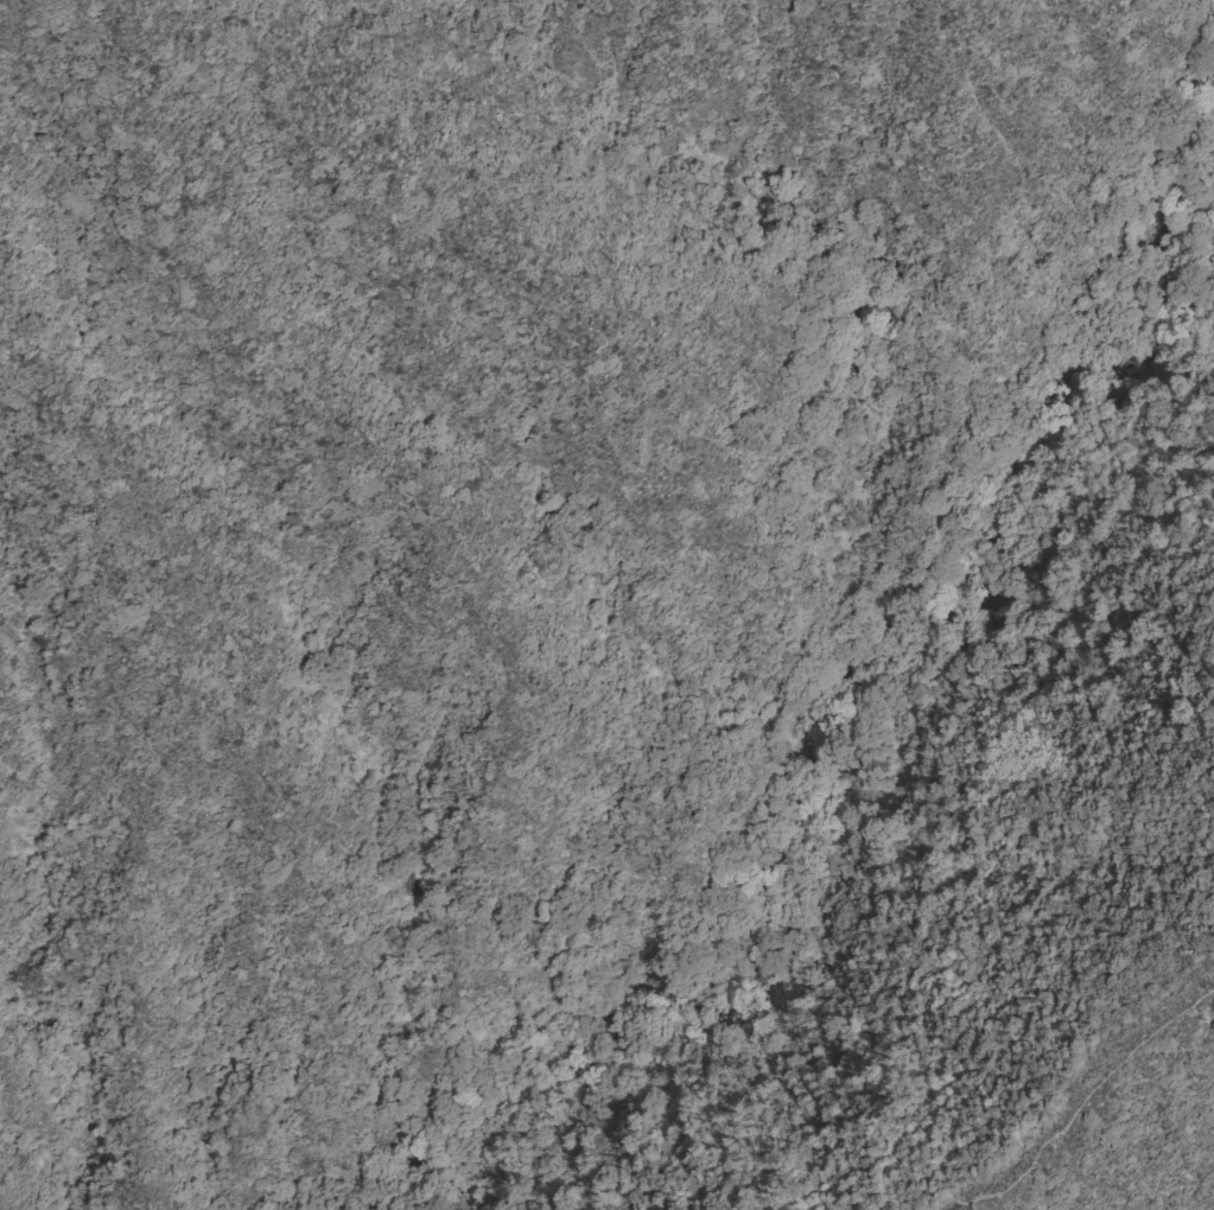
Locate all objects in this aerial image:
road: (1079, 1089)

